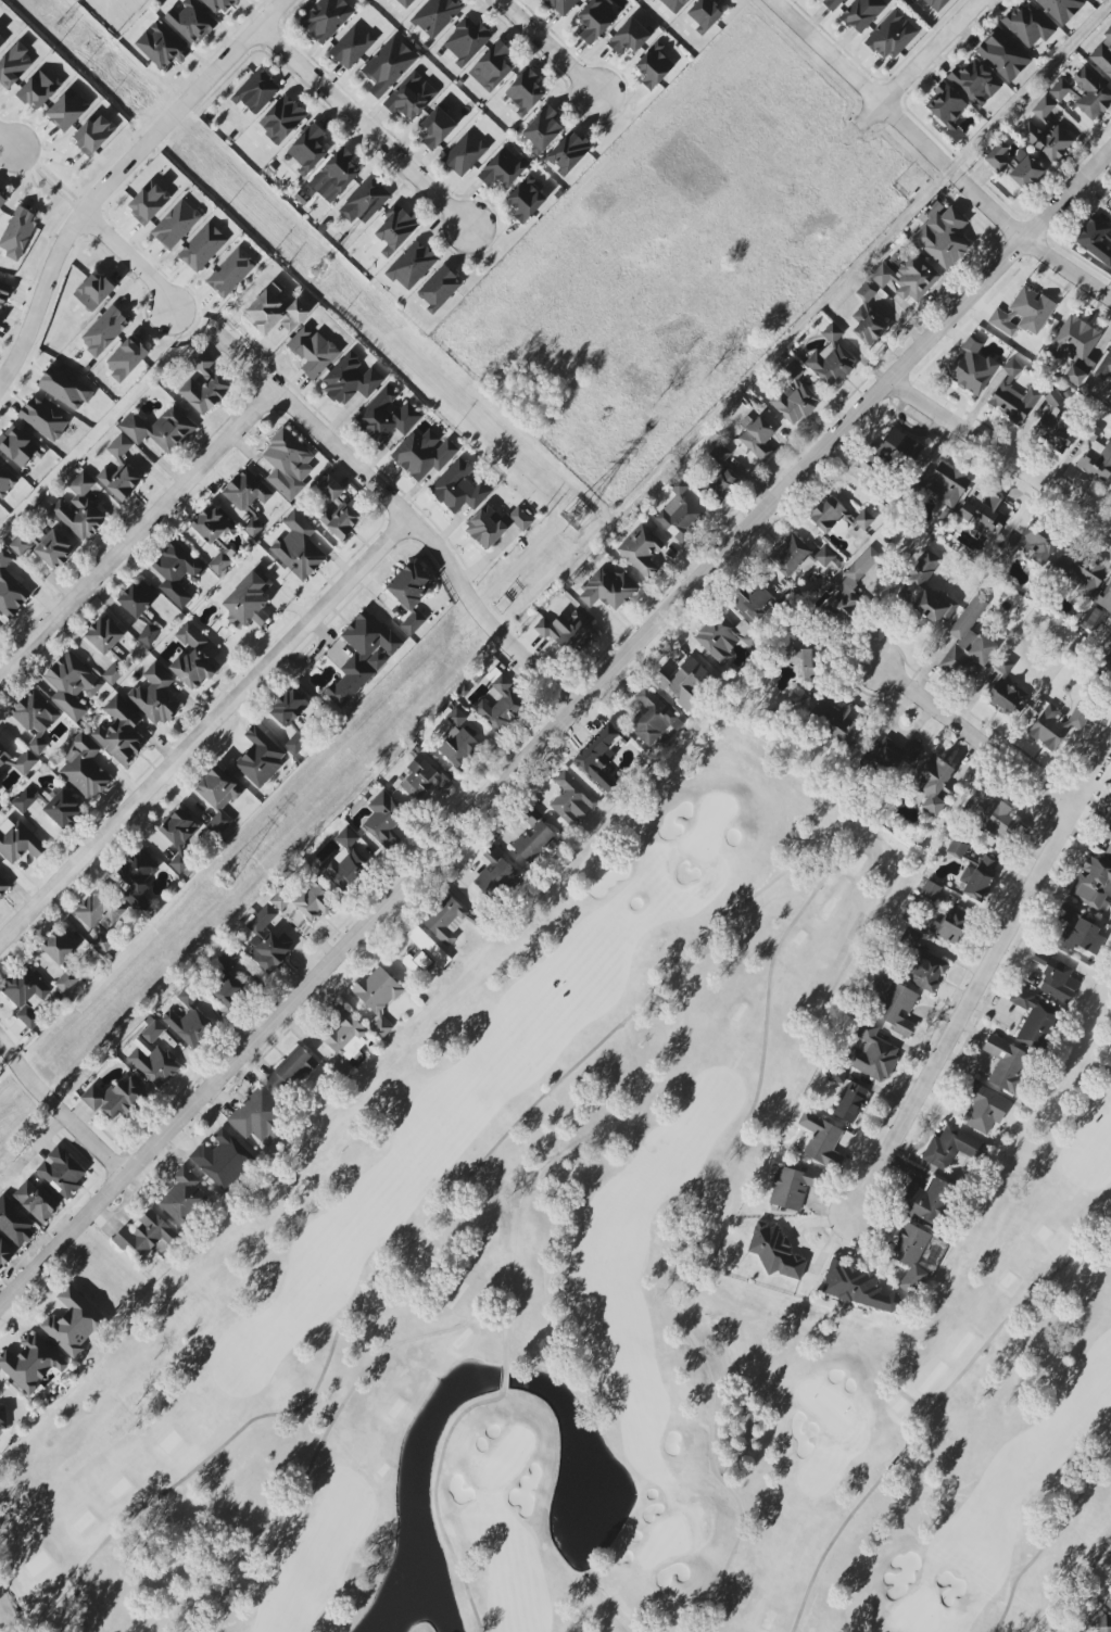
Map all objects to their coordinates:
building: (405, 2)
building: (673, 4)
building: (831, 4)
building: (937, 4)
building: (218, 5)
building: (561, 5)
building: (1061, 9)
building: (705, 14)
building: (862, 14)
building: (435, 16)
building: (326, 18)
building: (596, 20)
building: (190, 22)
building: (1028, 25)
power tower: (54, 26)
building: (630, 36)
building: (892, 36)
building: (466, 41)
building: (2, 42)
building: (161, 47)
building: (352, 47)
road: (546, 47)
building: (1103, 54)
building: (1002, 55)
road: (919, 63)
building: (388, 65)
building: (14, 66)
building: (654, 66)
building: (491, 67)
road: (858, 80)
building: (974, 84)
building: (38, 90)
building: (525, 91)
building: (256, 92)
building: (1084, 93)
building: (411, 97)
building: (67, 110)
building: (947, 110)
building: (281, 119)
building: (1050, 125)
building: (438, 127)
road: (365, 128)
building: (542, 129)
building: (93, 134)
road: (8, 142)
building: (307, 149)
building: (568, 153)
building: (465, 154)
building: (997, 156)
building: (503, 168)
building: (1026, 173)
road: (119, 175)
building: (334, 176)
building: (526, 200)
building: (2, 201)
building: (365, 201)
building: (148, 204)
building: (175, 225)
building: (395, 230)
building: (17, 233)
building: (943, 236)
building: (1095, 239)
road: (1030, 243)
building: (202, 248)
road: (130, 260)
building: (412, 265)
power tower: (313, 270)
building: (230, 273)
building: (908, 277)
building: (439, 289)
building: (92, 292)
building: (864, 292)
building: (3, 294)
building: (274, 314)
building: (1023, 314)
building: (868, 324)
building: (104, 331)
building: (1075, 347)
building: (313, 352)
building: (832, 358)
building: (125, 359)
building: (971, 368)
building: (351, 379)
building: (215, 383)
building: (65, 388)
building: (1012, 395)
building: (794, 396)
building: (387, 416)
building: (42, 419)
building: (1053, 425)
building: (160, 429)
building: (756, 438)
building: (18, 446)
building: (900, 447)
building: (424, 454)
building: (720, 454)
road: (1000, 455)
building: (1097, 460)
building: (288, 464)
building: (119, 470)
building: (5, 481)
building: (719, 485)
building: (458, 488)
building: (247, 498)
building: (79, 509)
building: (337, 509)
road: (401, 510)
building: (679, 513)
power tower: (575, 515)
building: (983, 515)
building: (838, 517)
building: (495, 526)
road: (137, 532)
building: (215, 537)
building: (1033, 543)
building: (18, 547)
building: (298, 547)
building: (53, 551)
building: (641, 551)
building: (798, 556)
building: (176, 572)
building: (1080, 574)
building: (411, 585)
building: (856, 585)
building: (10, 589)
building: (608, 590)
building: (925, 591)
building: (138, 598)
building: (249, 600)
building: (752, 602)
building: (1106, 602)
building: (413, 623)
building: (566, 631)
building: (148, 634)
building: (104, 635)
building: (718, 638)
building: (969, 644)
building: (1109, 654)
building: (363, 656)
building: (193, 659)
building: (806, 662)
building: (114, 673)
building: (684, 682)
building: (72, 684)
building: (1006, 692)
building: (155, 696)
building: (502, 707)
building: (653, 717)
building: (35, 718)
building: (292, 718)
building: (836, 721)
building: (1058, 723)
road: (555, 726)
road: (205, 731)
building: (119, 732)
road: (980, 738)
building: (457, 741)
building: (892, 752)
building: (3, 756)
building: (598, 757)
building: (260, 758)
building: (23, 762)
building: (84, 768)
building: (1, 781)
building: (425, 782)
building: (936, 784)
building: (217, 797)
building: (24, 800)
building: (571, 800)
building: (63, 809)
building: (994, 817)
building: (383, 820)
building: (1109, 820)
building: (182, 837)
building: (533, 838)
building: (17, 842)
building: (956, 849)
building: (1108, 851)
building: (345, 860)
building: (981, 877)
building: (137, 878)
building: (497, 881)
power tower: (227, 882)
building: (1094, 884)
building: (3, 886)
building: (930, 890)
building: (280, 900)
building: (314, 901)
building: (96, 910)
road: (724, 916)
building: (445, 920)
building: (950, 925)
building: (1077, 931)
building: (267, 940)
building: (103, 942)
building: (61, 945)
building: (424, 952)
building: (923, 964)
building: (1055, 977)
building: (228, 981)
building: (66, 982)
road: (980, 994)
building: (26, 995)
building: (378, 997)
building: (895, 1005)
building: (1033, 1019)
building: (190, 1022)
building: (344, 1040)
building: (872, 1053)
building: (152, 1057)
building: (1006, 1063)
building: (293, 1068)
building: (115, 1099)
building: (851, 1103)
building: (984, 1109)
road: (59, 1110)
building: (257, 1115)
building: (819, 1137)
building: (950, 1148)
road: (33, 1151)
building: (223, 1160)
building: (61, 1173)
building: (792, 1187)
building: (184, 1197)
building: (924, 1200)
building: (35, 1201)
building: (14, 1224)
building: (146, 1235)
building: (774, 1252)
building: (5, 1253)
building: (911, 1256)
building: (856, 1287)
park: (601, 1301)
building: (73, 1321)
building: (30, 1363)
road: (504, 1378)
road: (354, 1395)
road: (936, 1408)
building: (2, 1419)
road: (437, 1503)
road: (1045, 1545)
building: (1109, 1605)
building: (1102, 1624)
road: (794, 1631)
road: (796, 1631)

